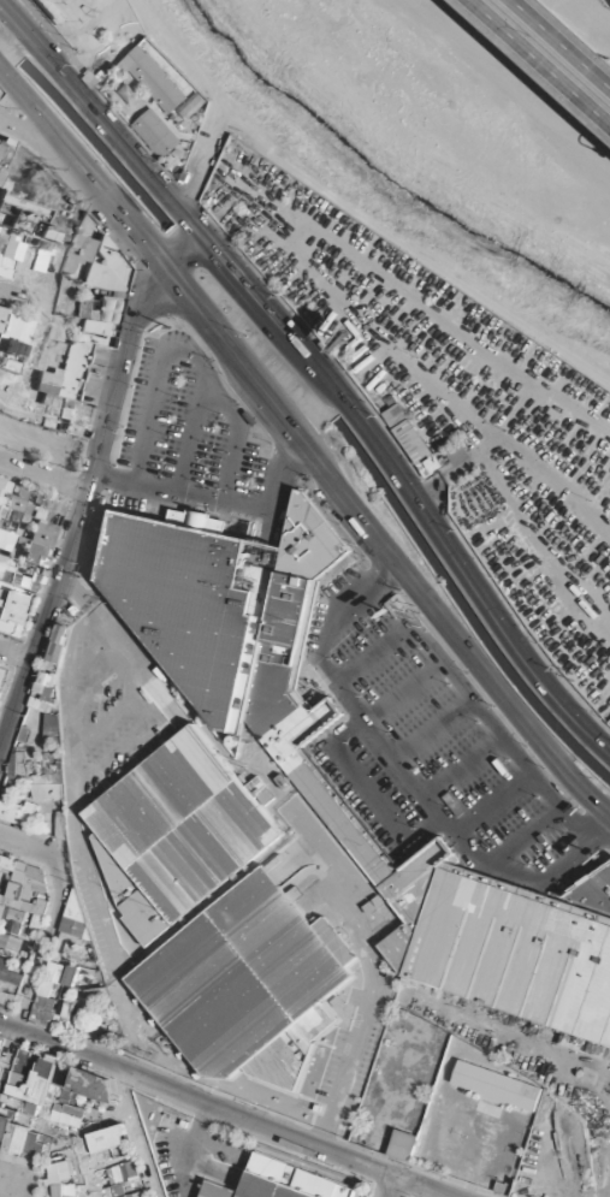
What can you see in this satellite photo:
park: (88, 20)
road: (575, 30)
road: (552, 49)
road: (508, 87)
road: (29, 130)
road: (202, 164)
river: (377, 178)
road: (355, 211)
road: (436, 322)
road: (188, 361)
road: (319, 369)
parking lot: (445, 401)
parking lot: (188, 428)
road: (194, 439)
road: (306, 444)
road: (478, 452)
road: (41, 478)
road: (87, 481)
road: (218, 504)
road: (380, 557)
building: (1, 569)
building: (184, 598)
building: (18, 604)
road: (338, 609)
road: (374, 653)
road: (404, 689)
road: (487, 718)
road: (433, 727)
road: (349, 731)
parking lot: (434, 743)
road: (463, 765)
road: (416, 782)
road: (491, 800)
road: (578, 825)
road: (599, 831)
road: (531, 837)
road: (561, 859)
building: (10, 893)
building: (499, 934)
building: (239, 947)
building: (23, 1128)
building: (95, 1178)
building: (283, 1181)

